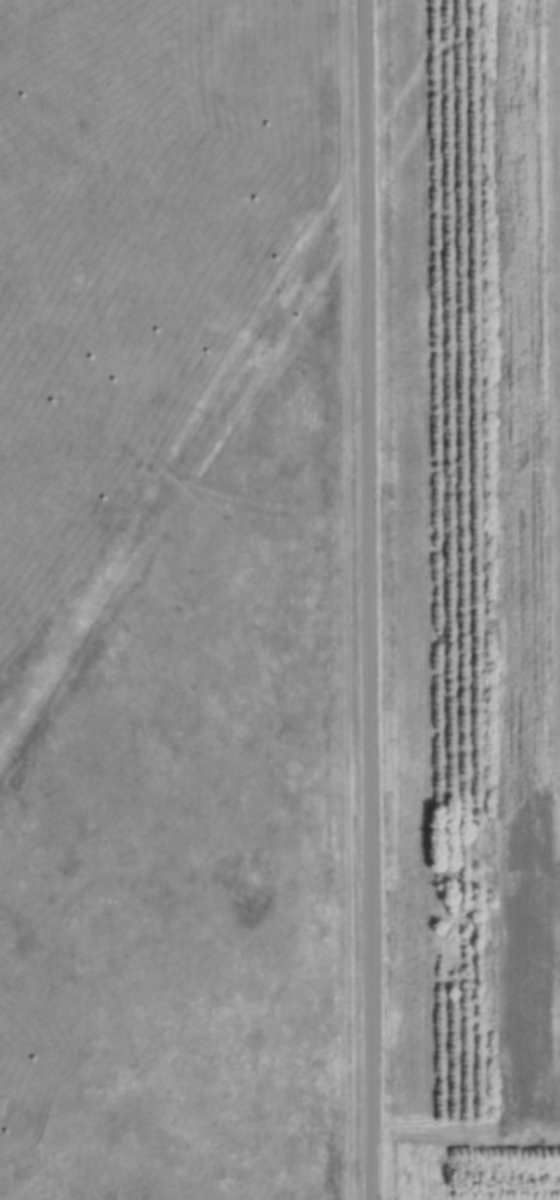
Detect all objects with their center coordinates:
road: (367, 599)

